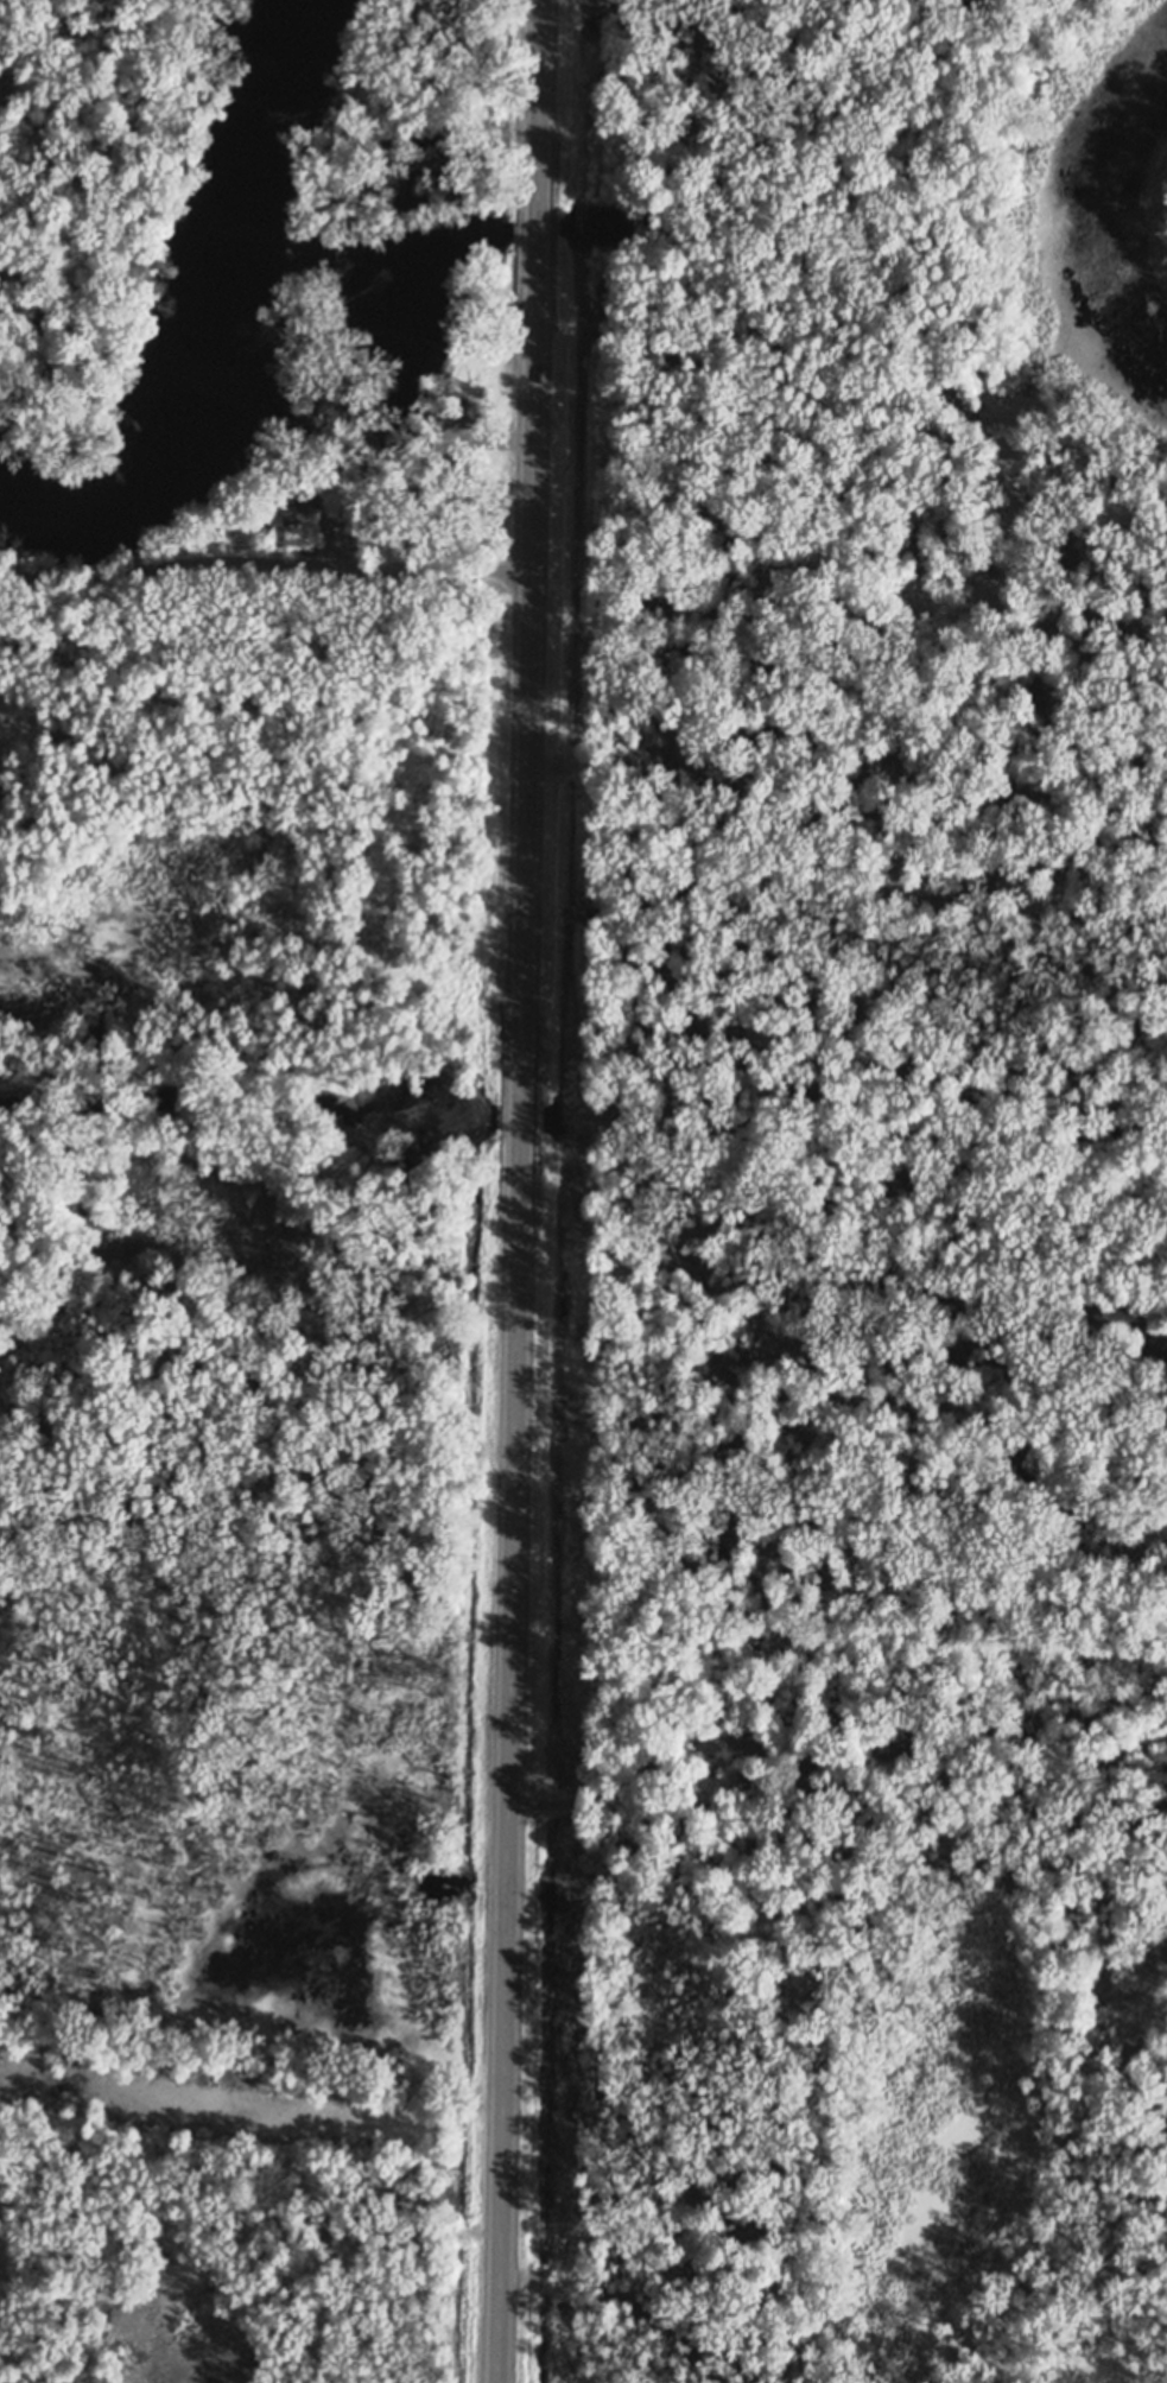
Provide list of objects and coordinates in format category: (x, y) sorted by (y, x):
building: (343, 102)
river: (218, 335)
building: (455, 417)
building: (322, 494)
building: (418, 496)
building: (296, 502)
road: (265, 564)
road: (520, 1191)

